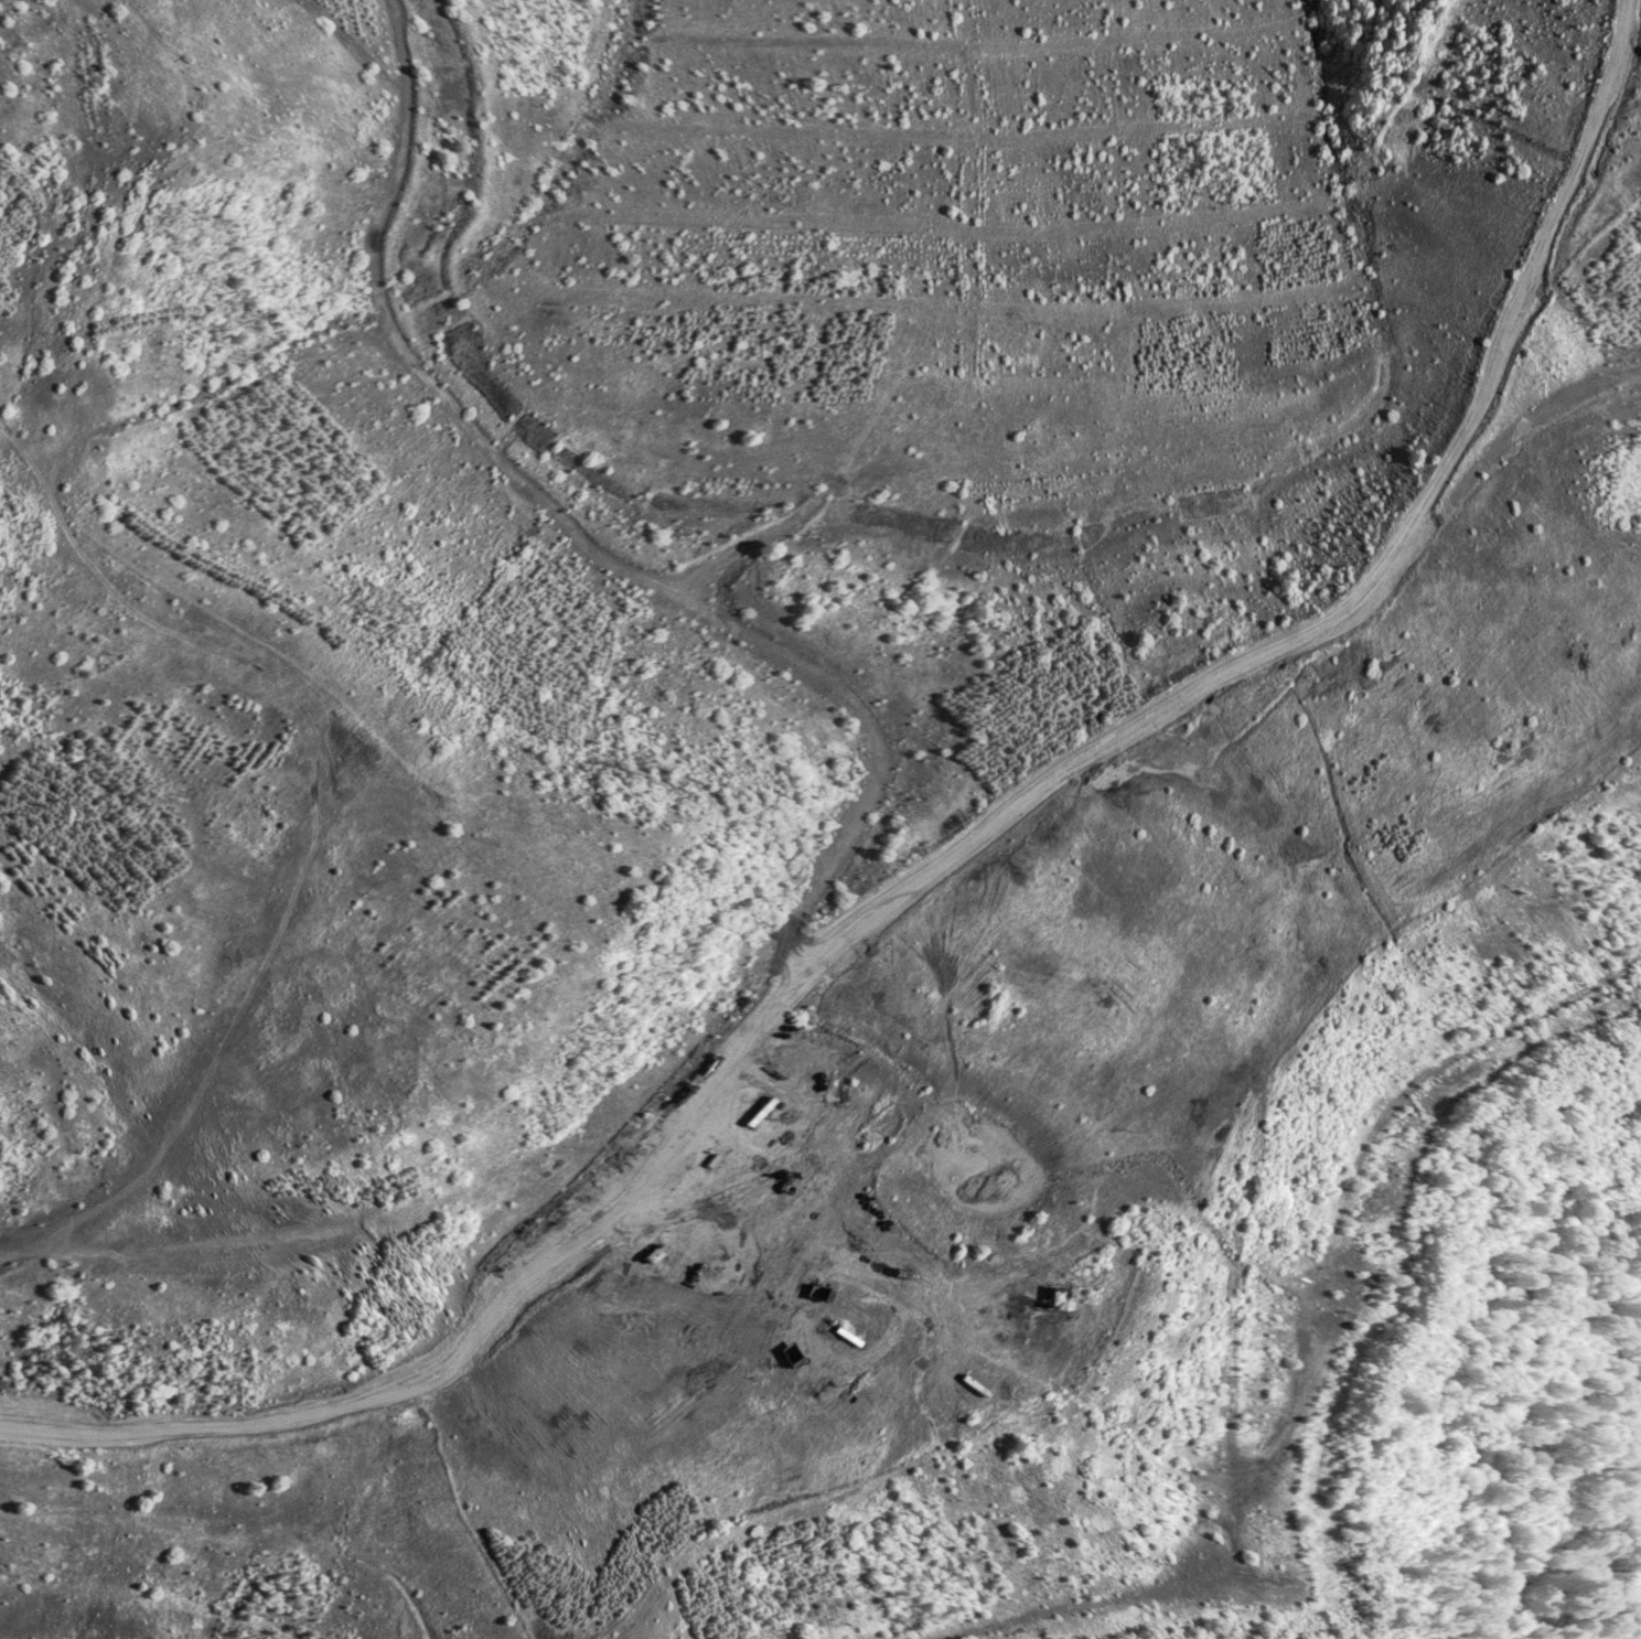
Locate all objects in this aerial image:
building: (1057, 1305)

